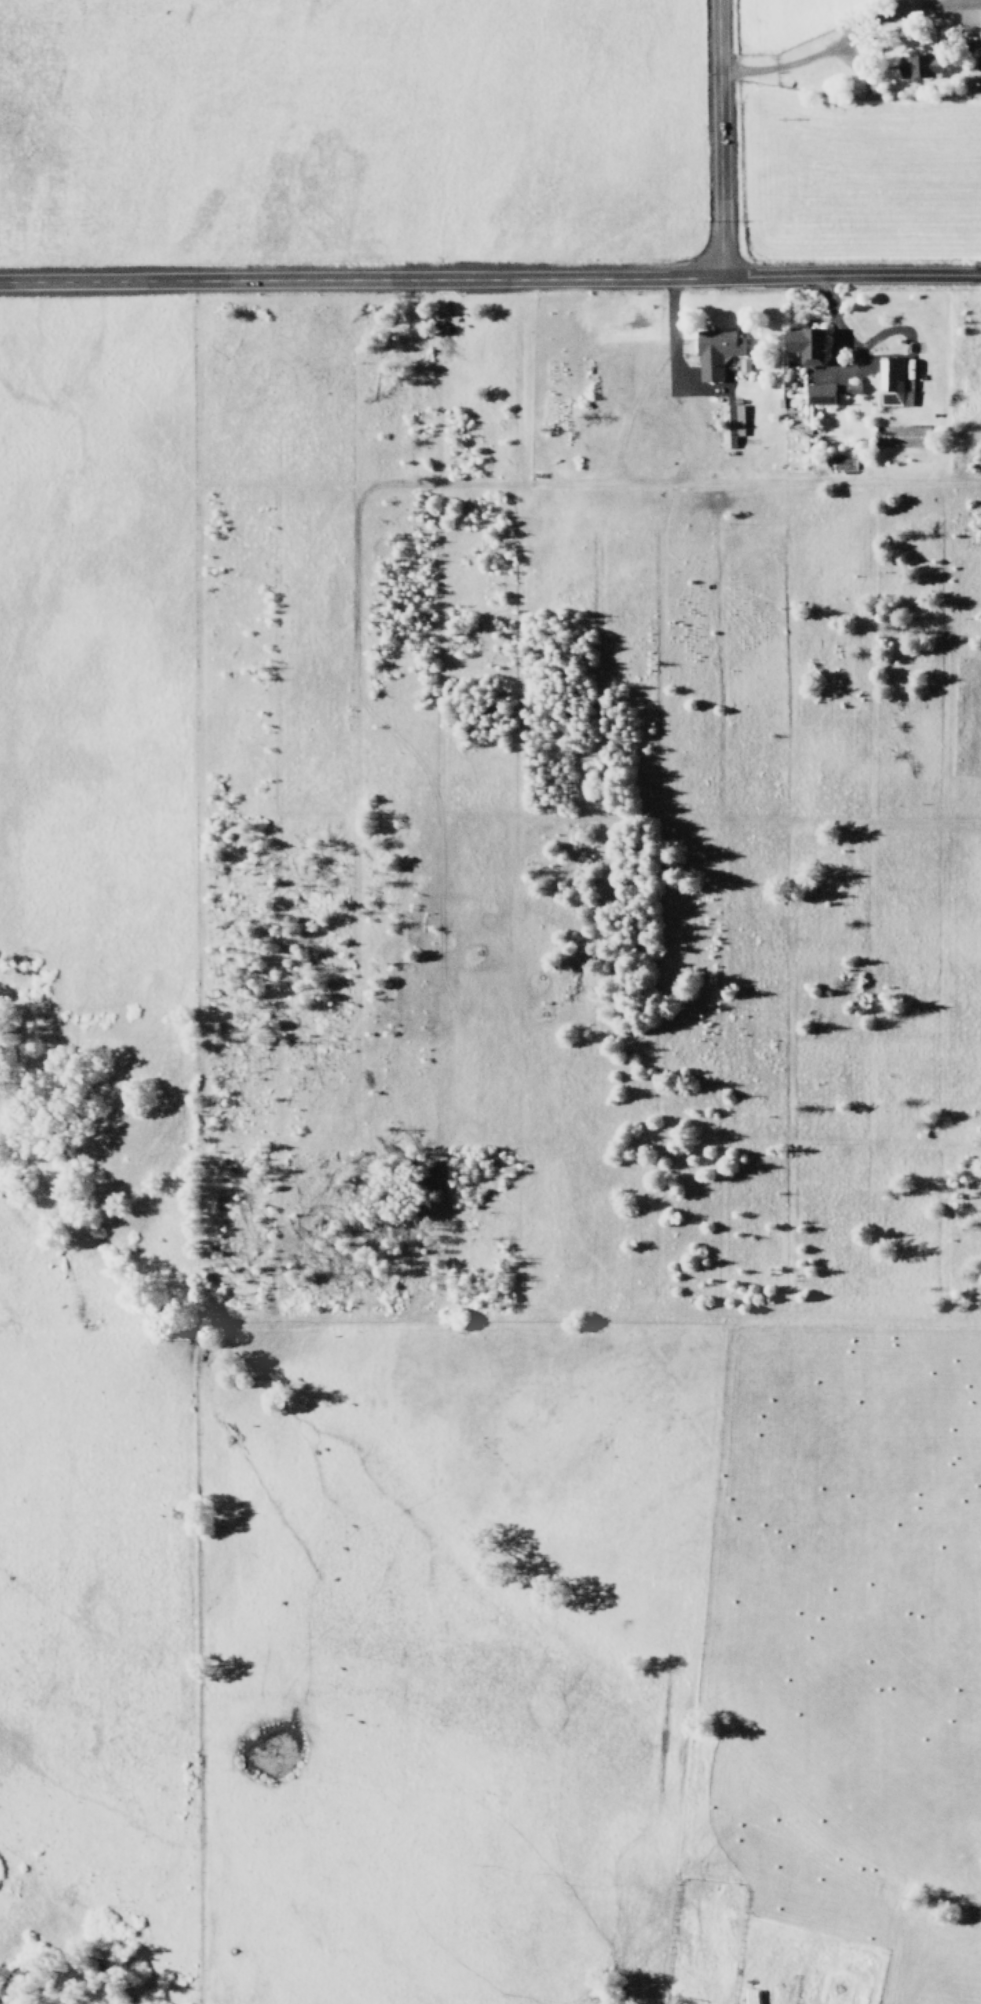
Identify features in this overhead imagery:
building: (971, 22)
building: (920, 66)
road: (713, 138)
road: (357, 277)
road: (848, 277)
building: (805, 345)
building: (715, 352)
building: (819, 394)
building: (730, 424)

